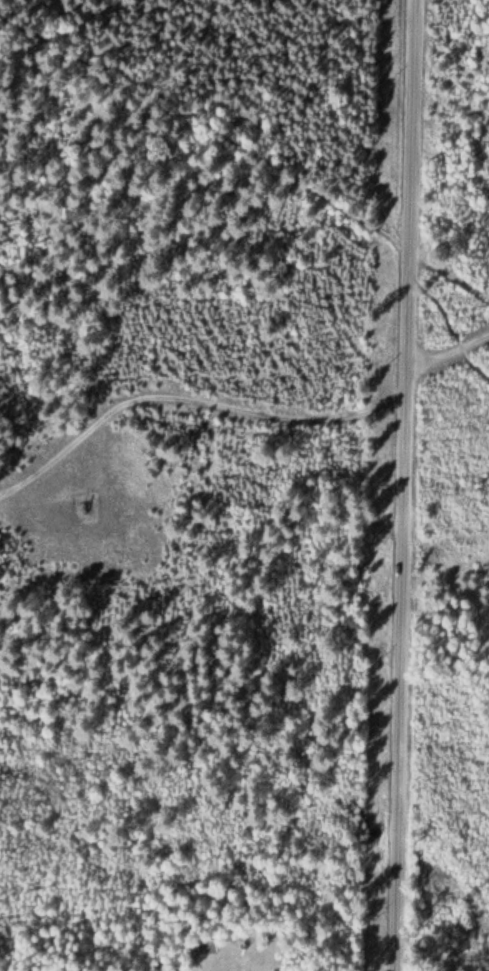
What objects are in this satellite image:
road: (248, 147)
road: (475, 365)
road: (241, 402)
road: (408, 485)
petroleum well: (85, 497)

